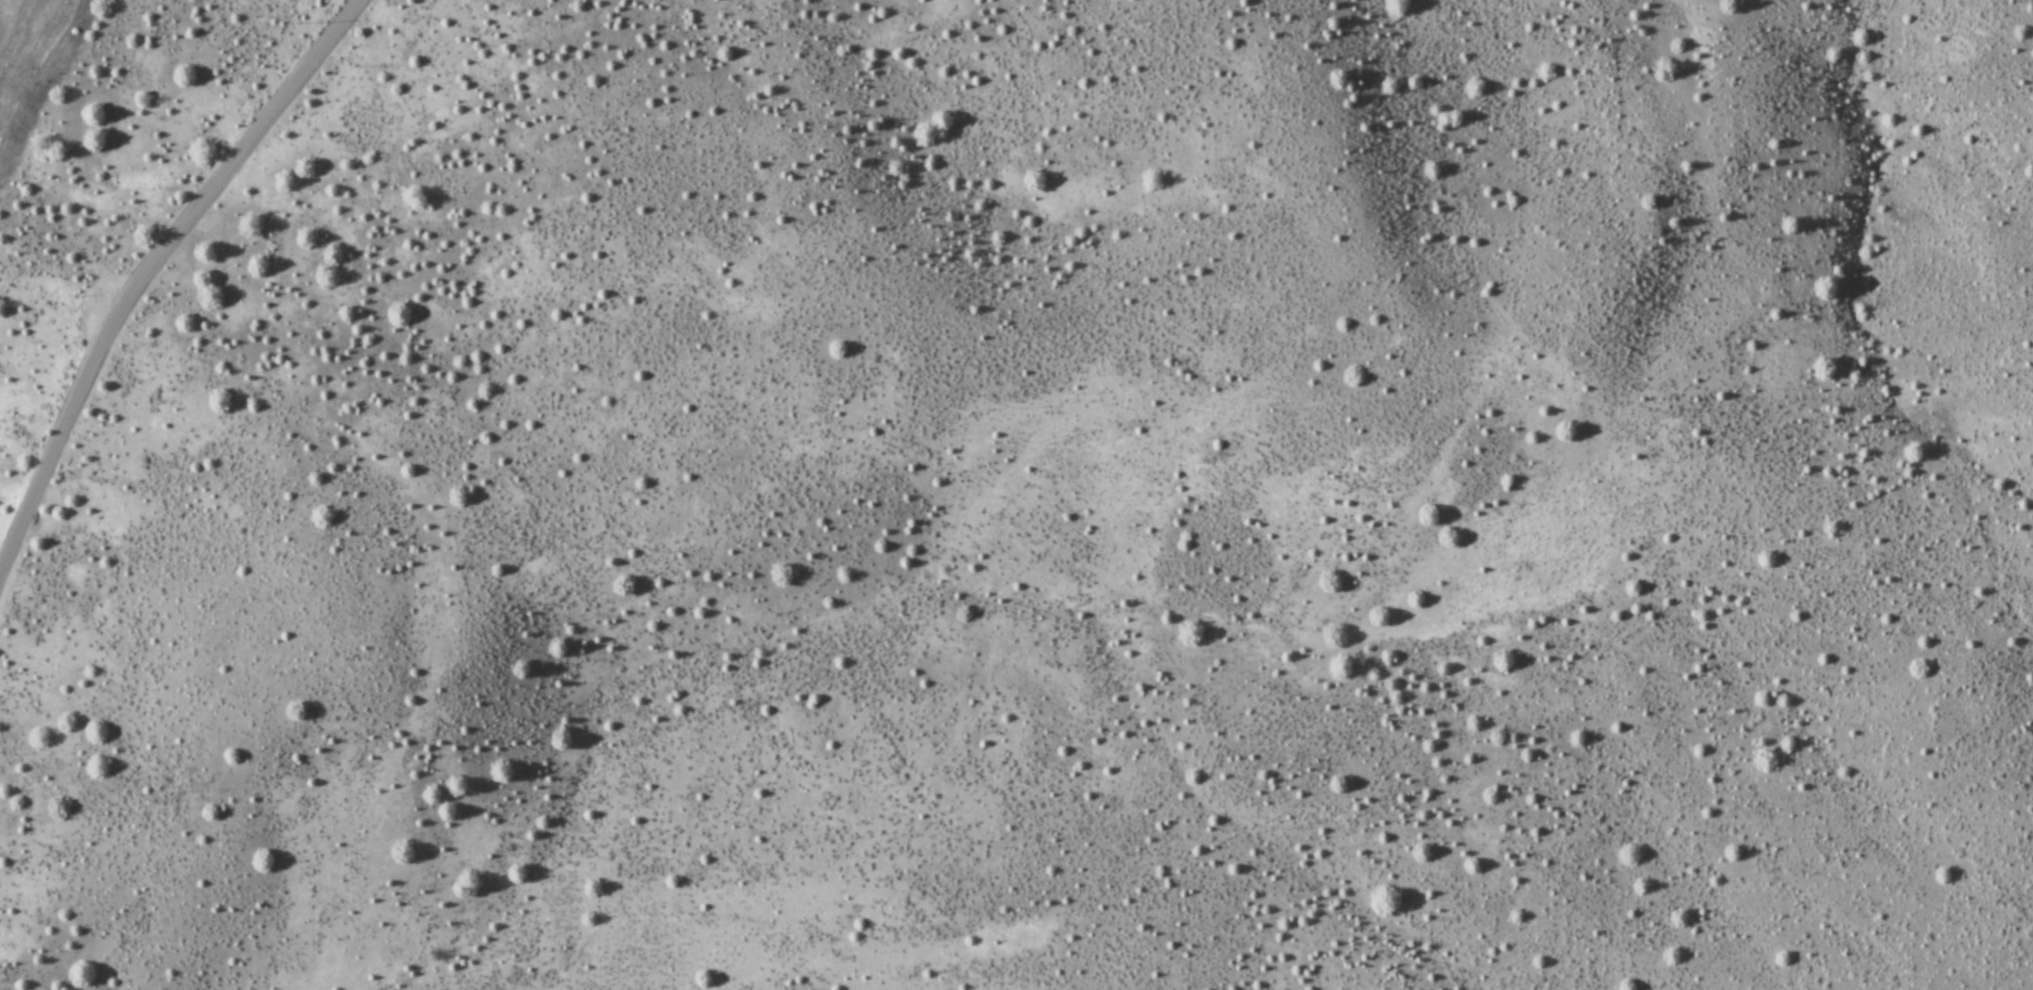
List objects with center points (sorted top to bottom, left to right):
road: (149, 276)

